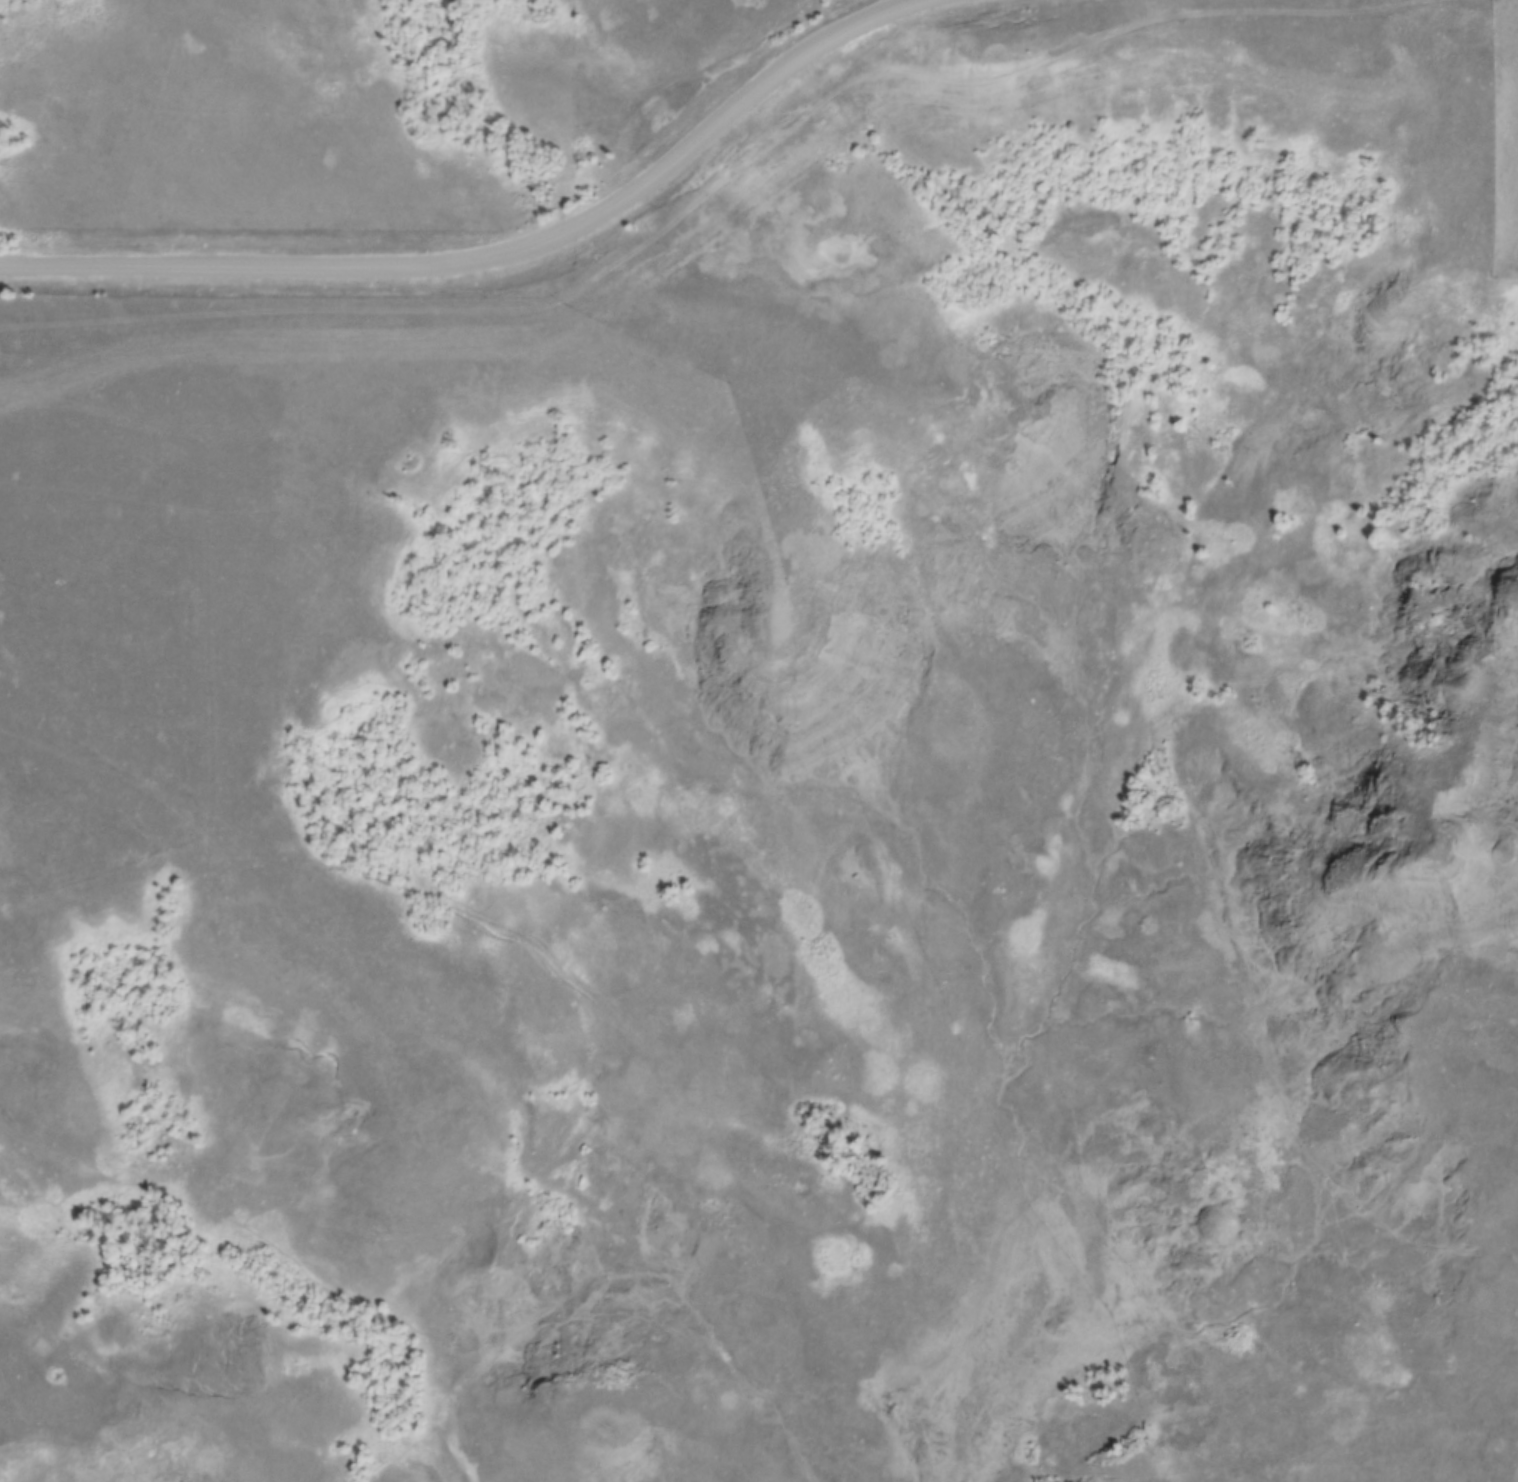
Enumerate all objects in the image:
road: (497, 259)

